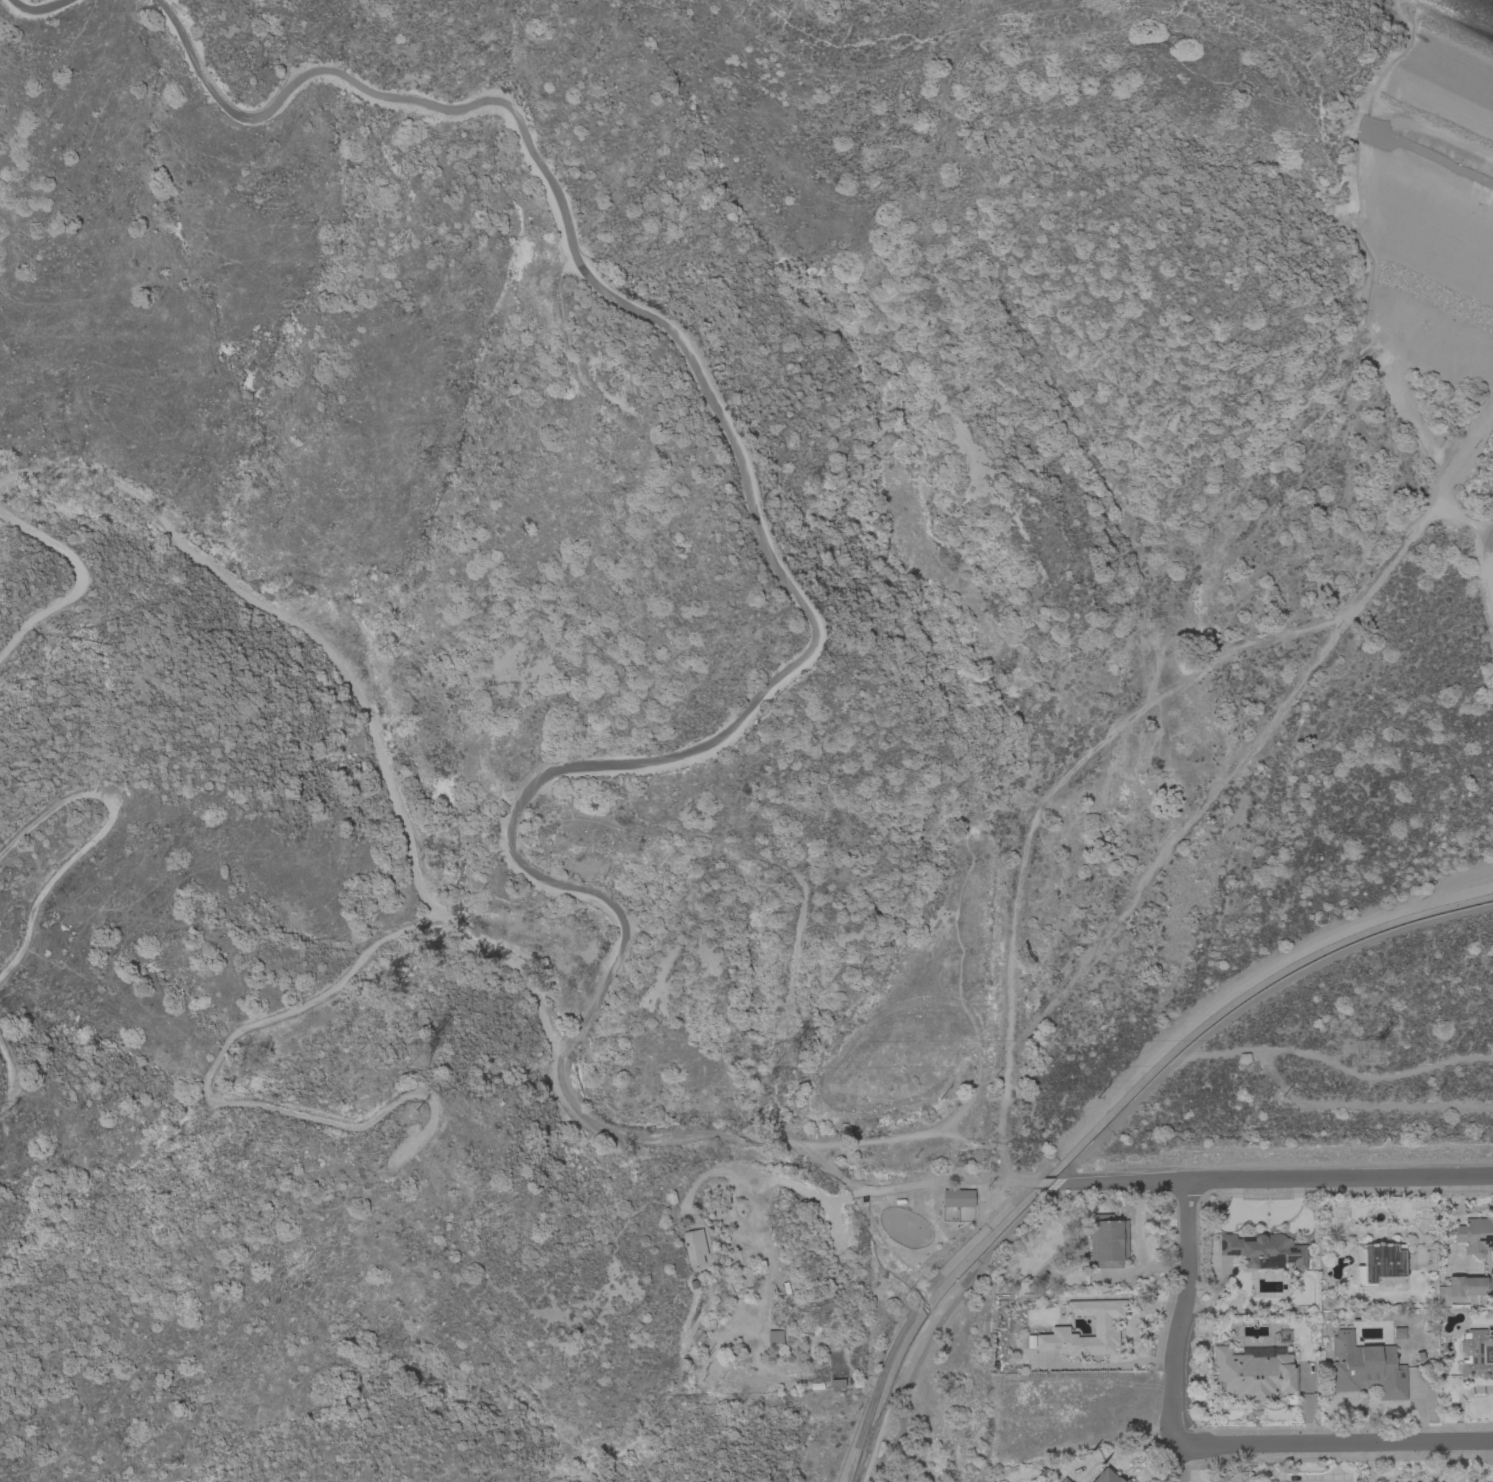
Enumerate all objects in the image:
road: (35, 18)
dam: (1426, 155)
road: (739, 466)
road: (1486, 563)
road: (83, 584)
road: (353, 691)
road: (1229, 987)
road: (1249, 1002)
power tower: (1364, 1054)
power tower: (407, 1057)
power tower: (773, 1057)
road: (203, 1092)
road: (792, 1143)
road: (1274, 1178)
building: (956, 1197)
road: (1379, 1231)
building: (1475, 1235)
building: (1106, 1240)
building: (693, 1246)
building: (1262, 1249)
building: (1381, 1264)
building: (1466, 1285)
road: (1180, 1313)
road: (940, 1317)
building: (1104, 1330)
building: (1398, 1332)
building: (774, 1336)
building: (1475, 1353)
building: (1365, 1367)
building: (1253, 1374)
road: (1333, 1443)
building: (1105, 1476)
building: (1063, 1480)
building: (1054, 1481)
building: (1126, 1481)

